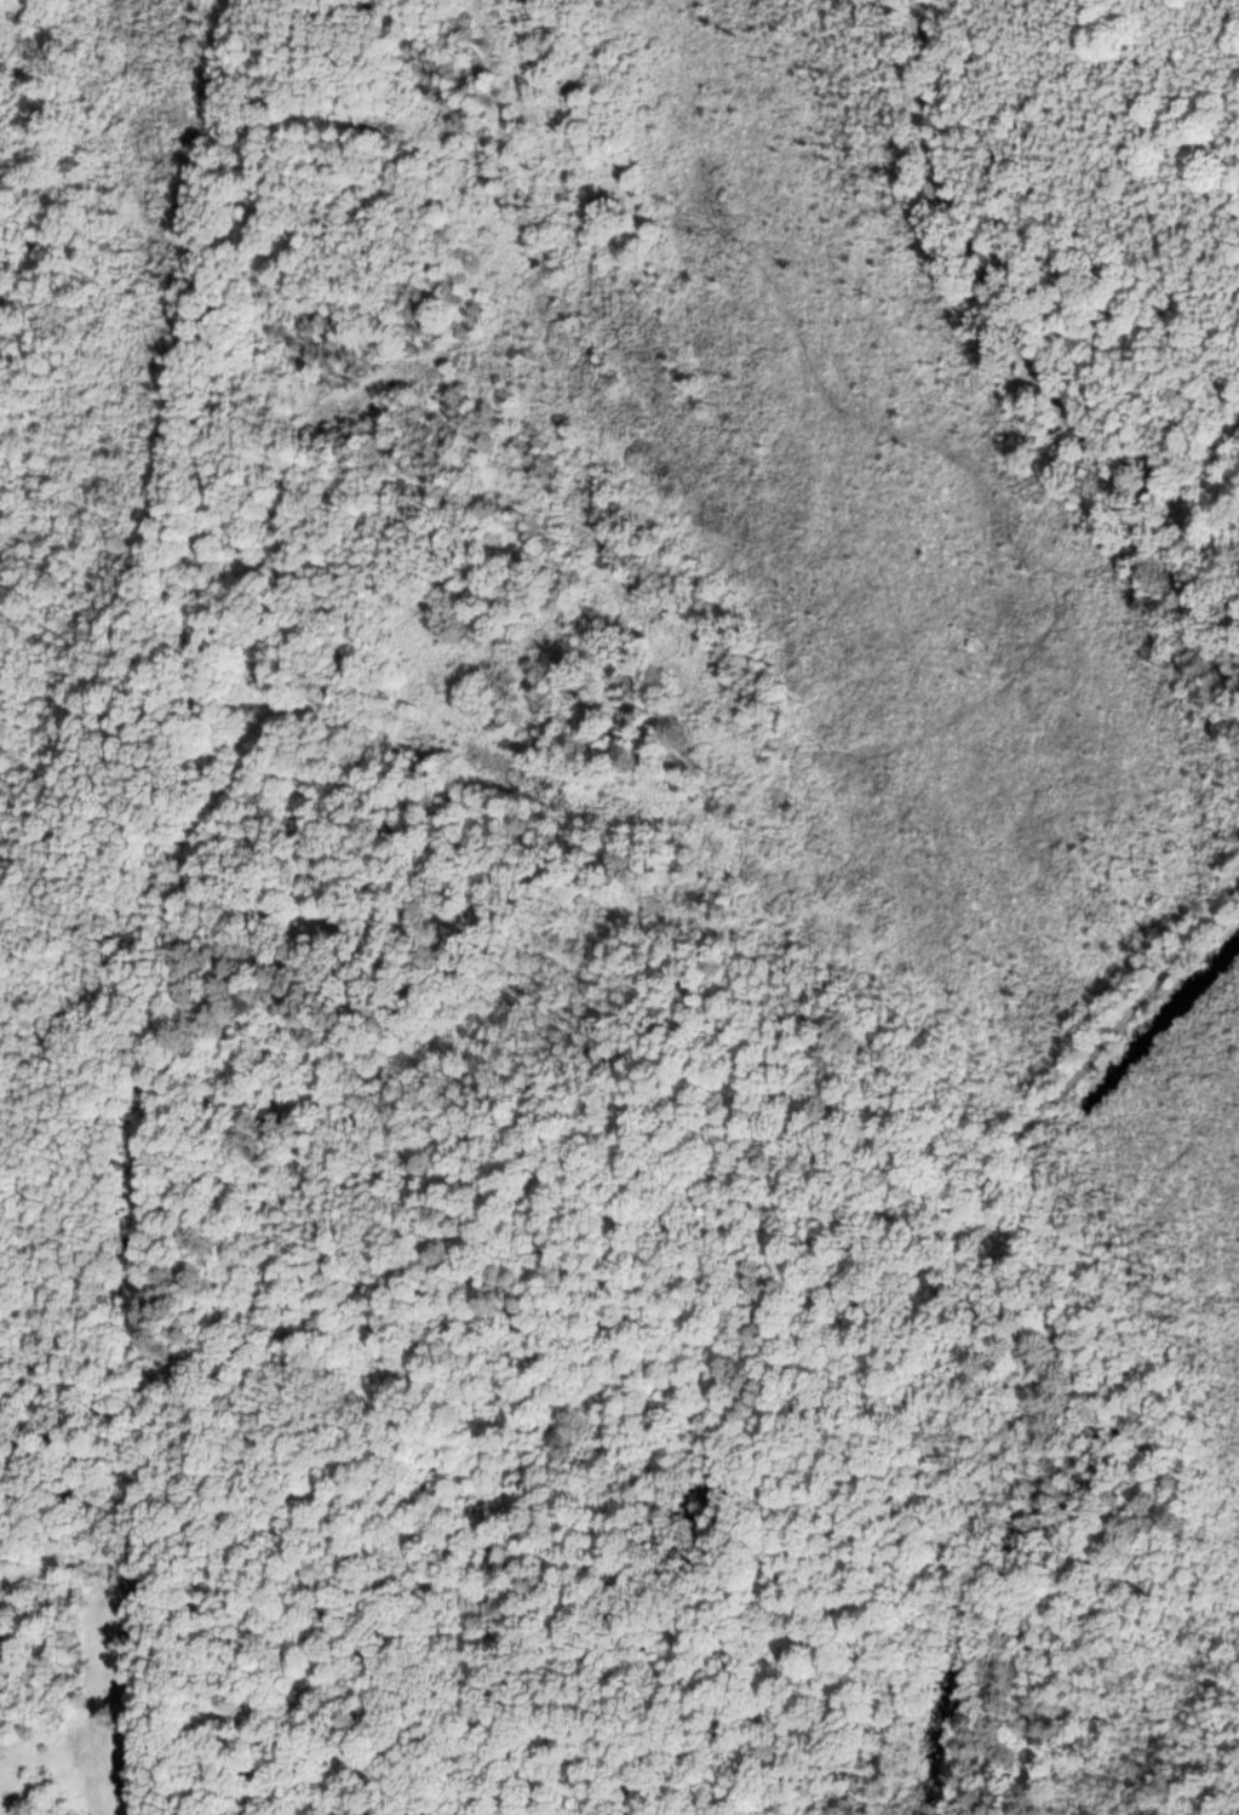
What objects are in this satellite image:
road: (1027, 357)

